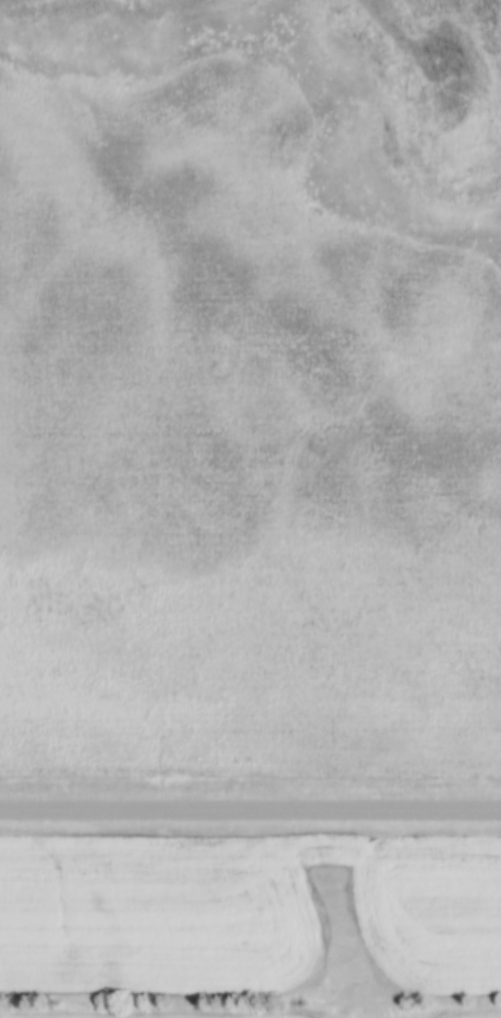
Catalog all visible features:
road: (250, 810)

